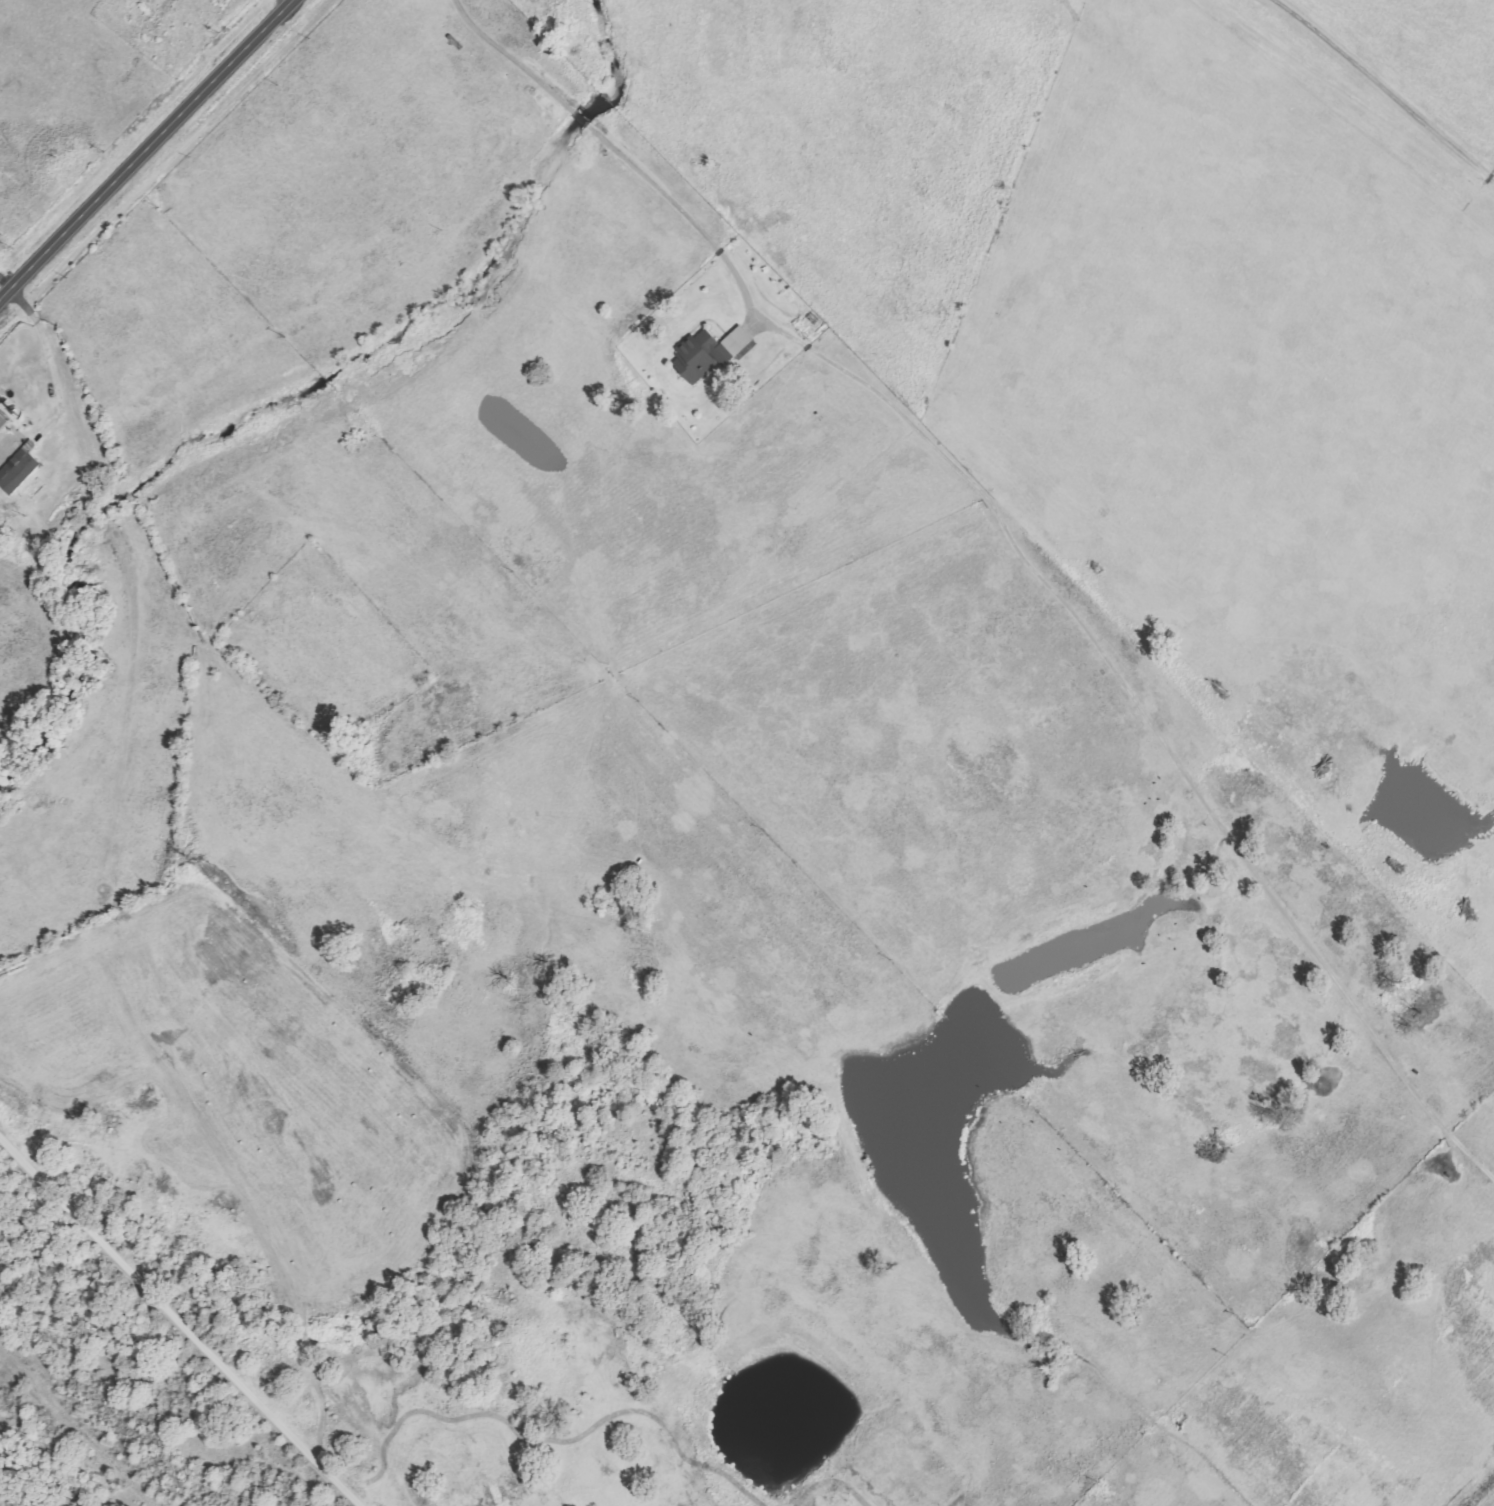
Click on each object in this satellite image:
road: (1379, 93)
road: (148, 149)
road: (617, 152)
building: (738, 343)
building: (698, 356)
road: (63, 395)
building: (5, 420)
building: (22, 470)
road: (180, 1323)

